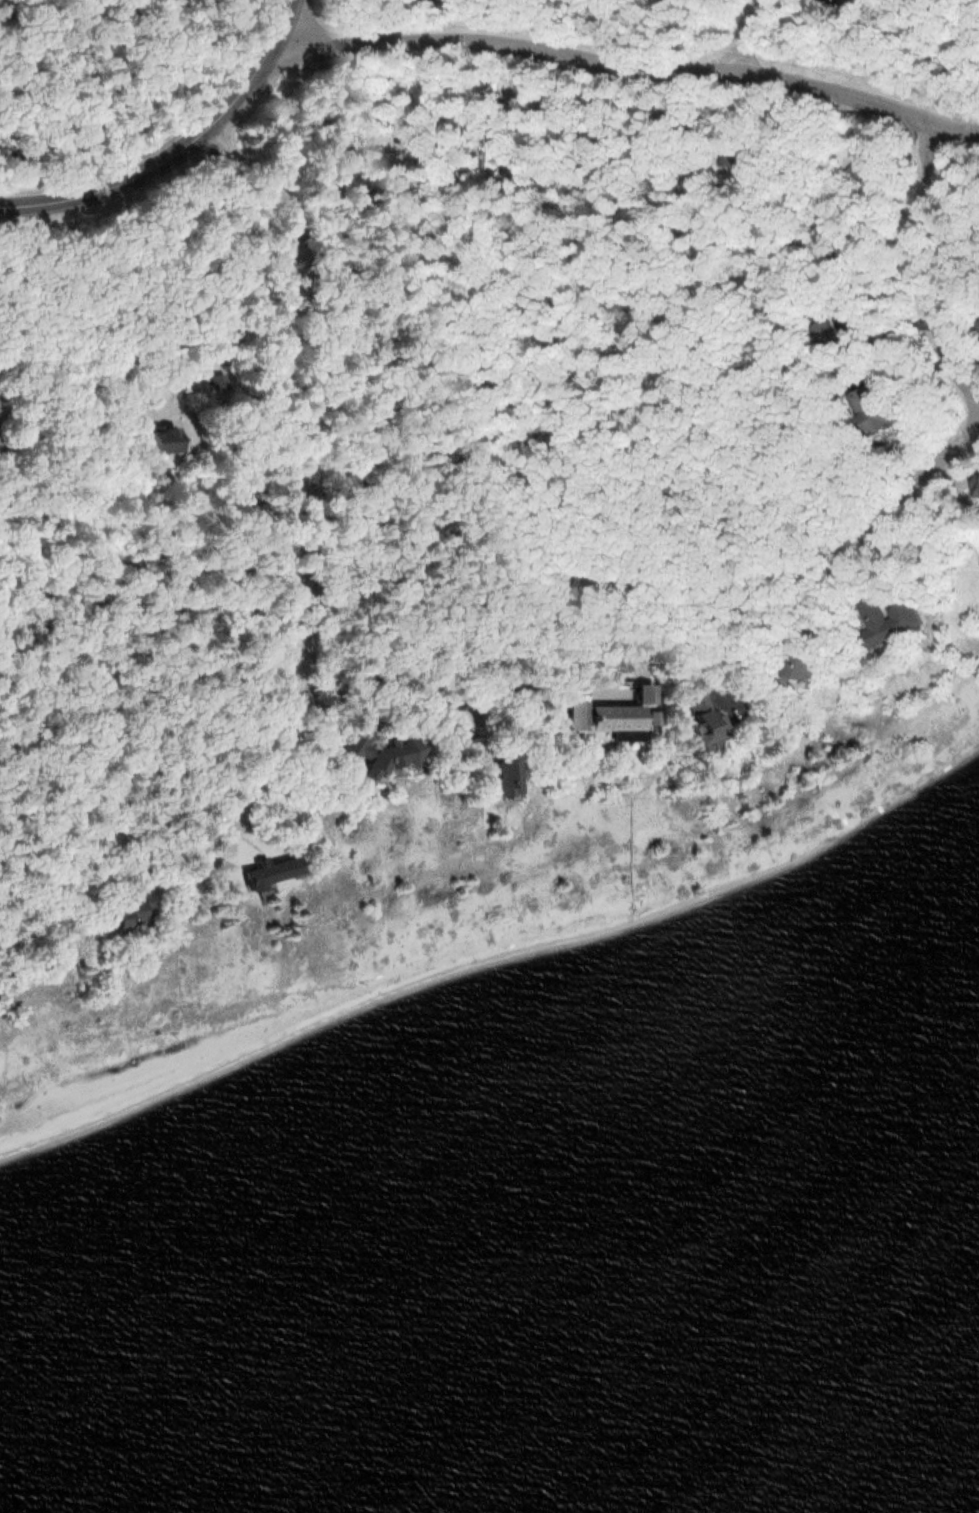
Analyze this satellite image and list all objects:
road: (754, 32)
road: (630, 62)
road: (257, 70)
building: (508, 153)
building: (858, 166)
building: (382, 167)
road: (109, 187)
road: (916, 269)
building: (975, 328)
building: (825, 336)
building: (871, 409)
building: (167, 438)
road: (909, 482)
road: (303, 554)
building: (586, 586)
building: (883, 619)
road: (564, 649)
building: (795, 664)
building: (641, 691)
building: (693, 713)
building: (596, 720)
building: (375, 754)
building: (494, 776)
building: (269, 869)
building: (135, 909)

